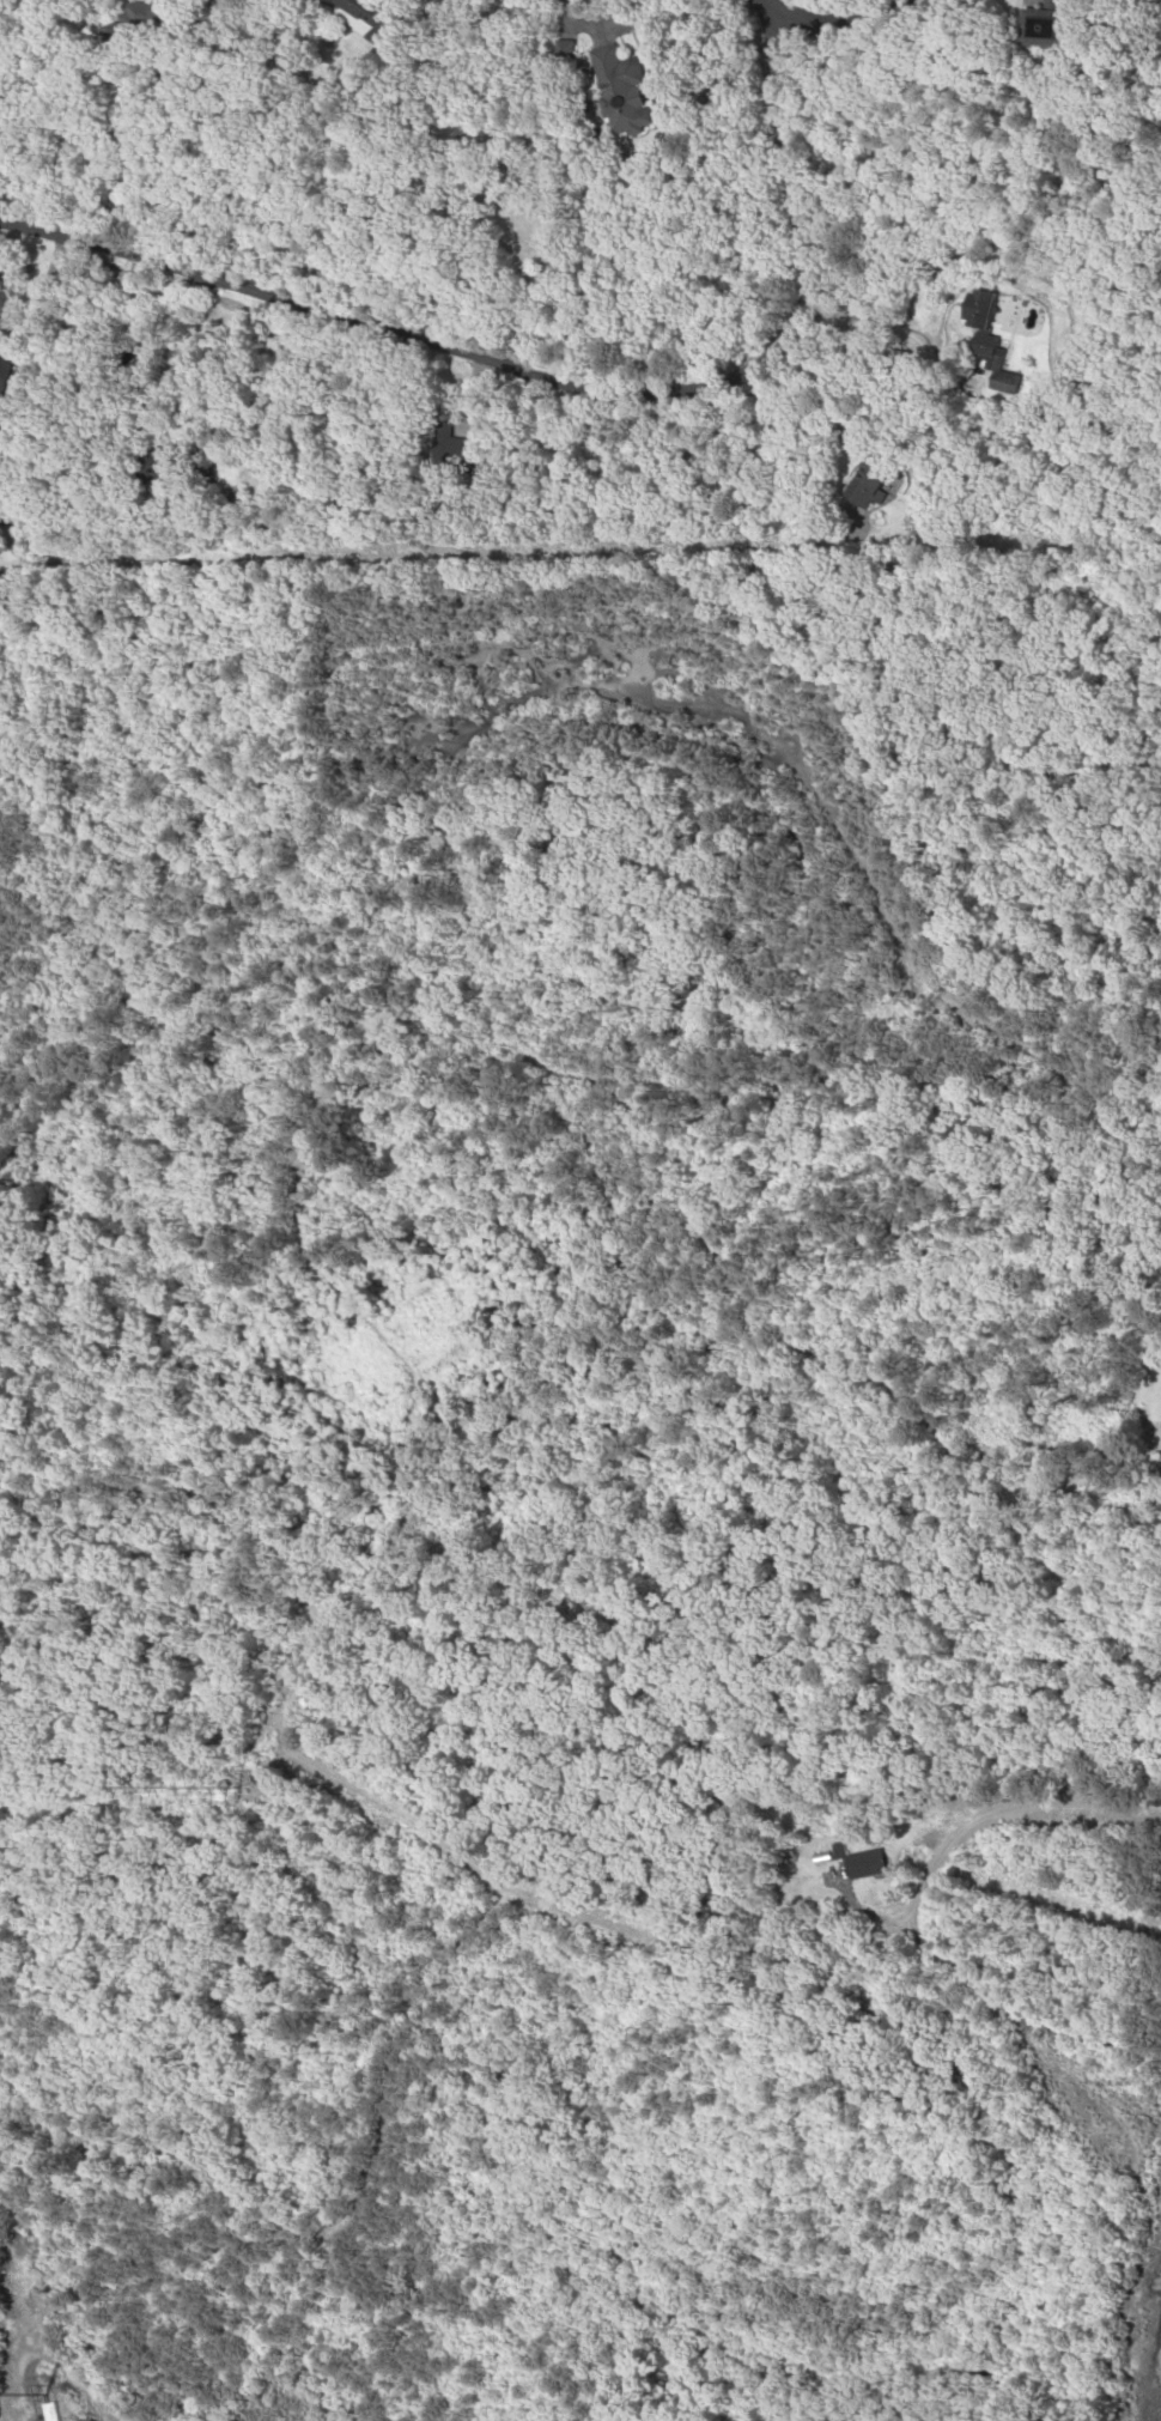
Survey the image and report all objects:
building: (359, 18)
road: (832, 20)
building: (1041, 29)
building: (619, 91)
building: (975, 323)
building: (6, 357)
road: (560, 384)
building: (162, 463)
building: (863, 481)
road: (329, 1713)
building: (861, 1864)
road: (312, 2231)
road: (69, 2376)
building: (45, 2411)

